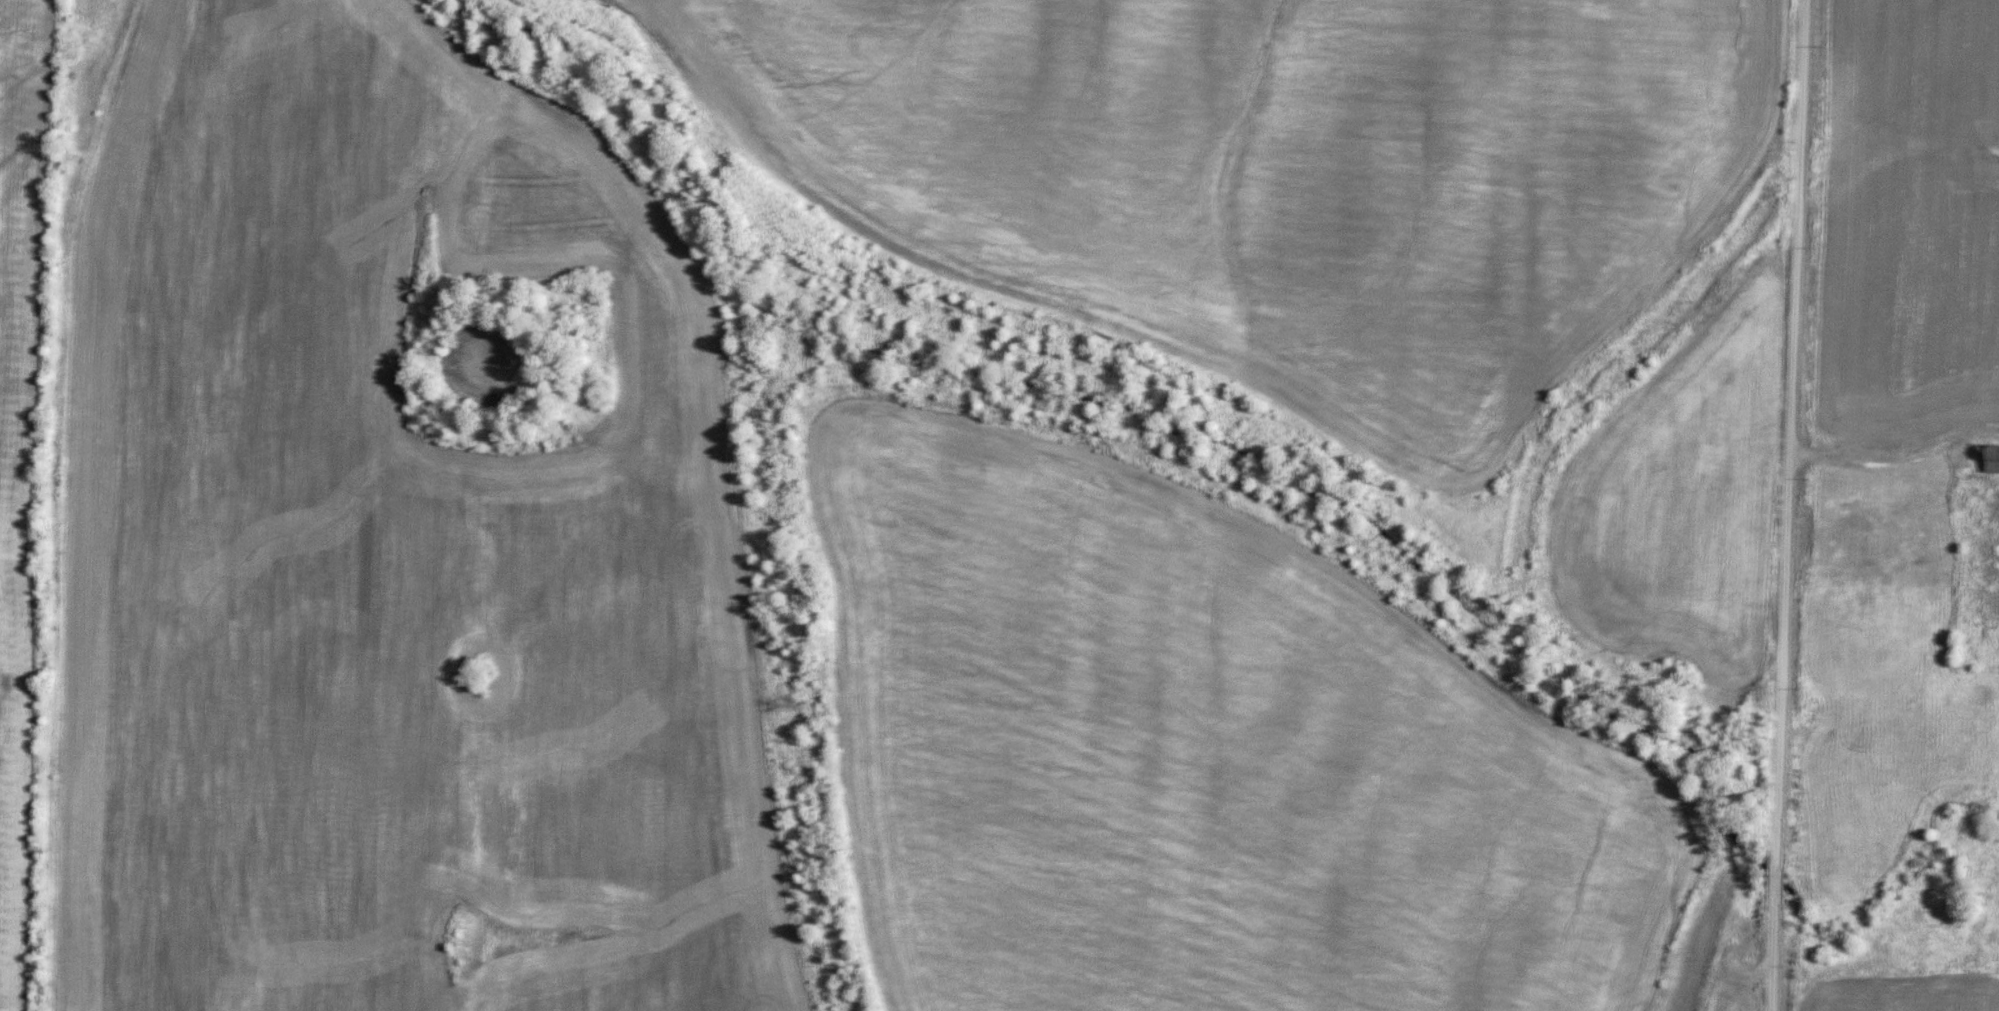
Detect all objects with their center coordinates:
building: (1991, 458)
road: (1896, 462)
road: (1788, 505)
building: (1905, 524)
building: (1854, 531)
road: (1807, 974)
road: (1841, 1006)

